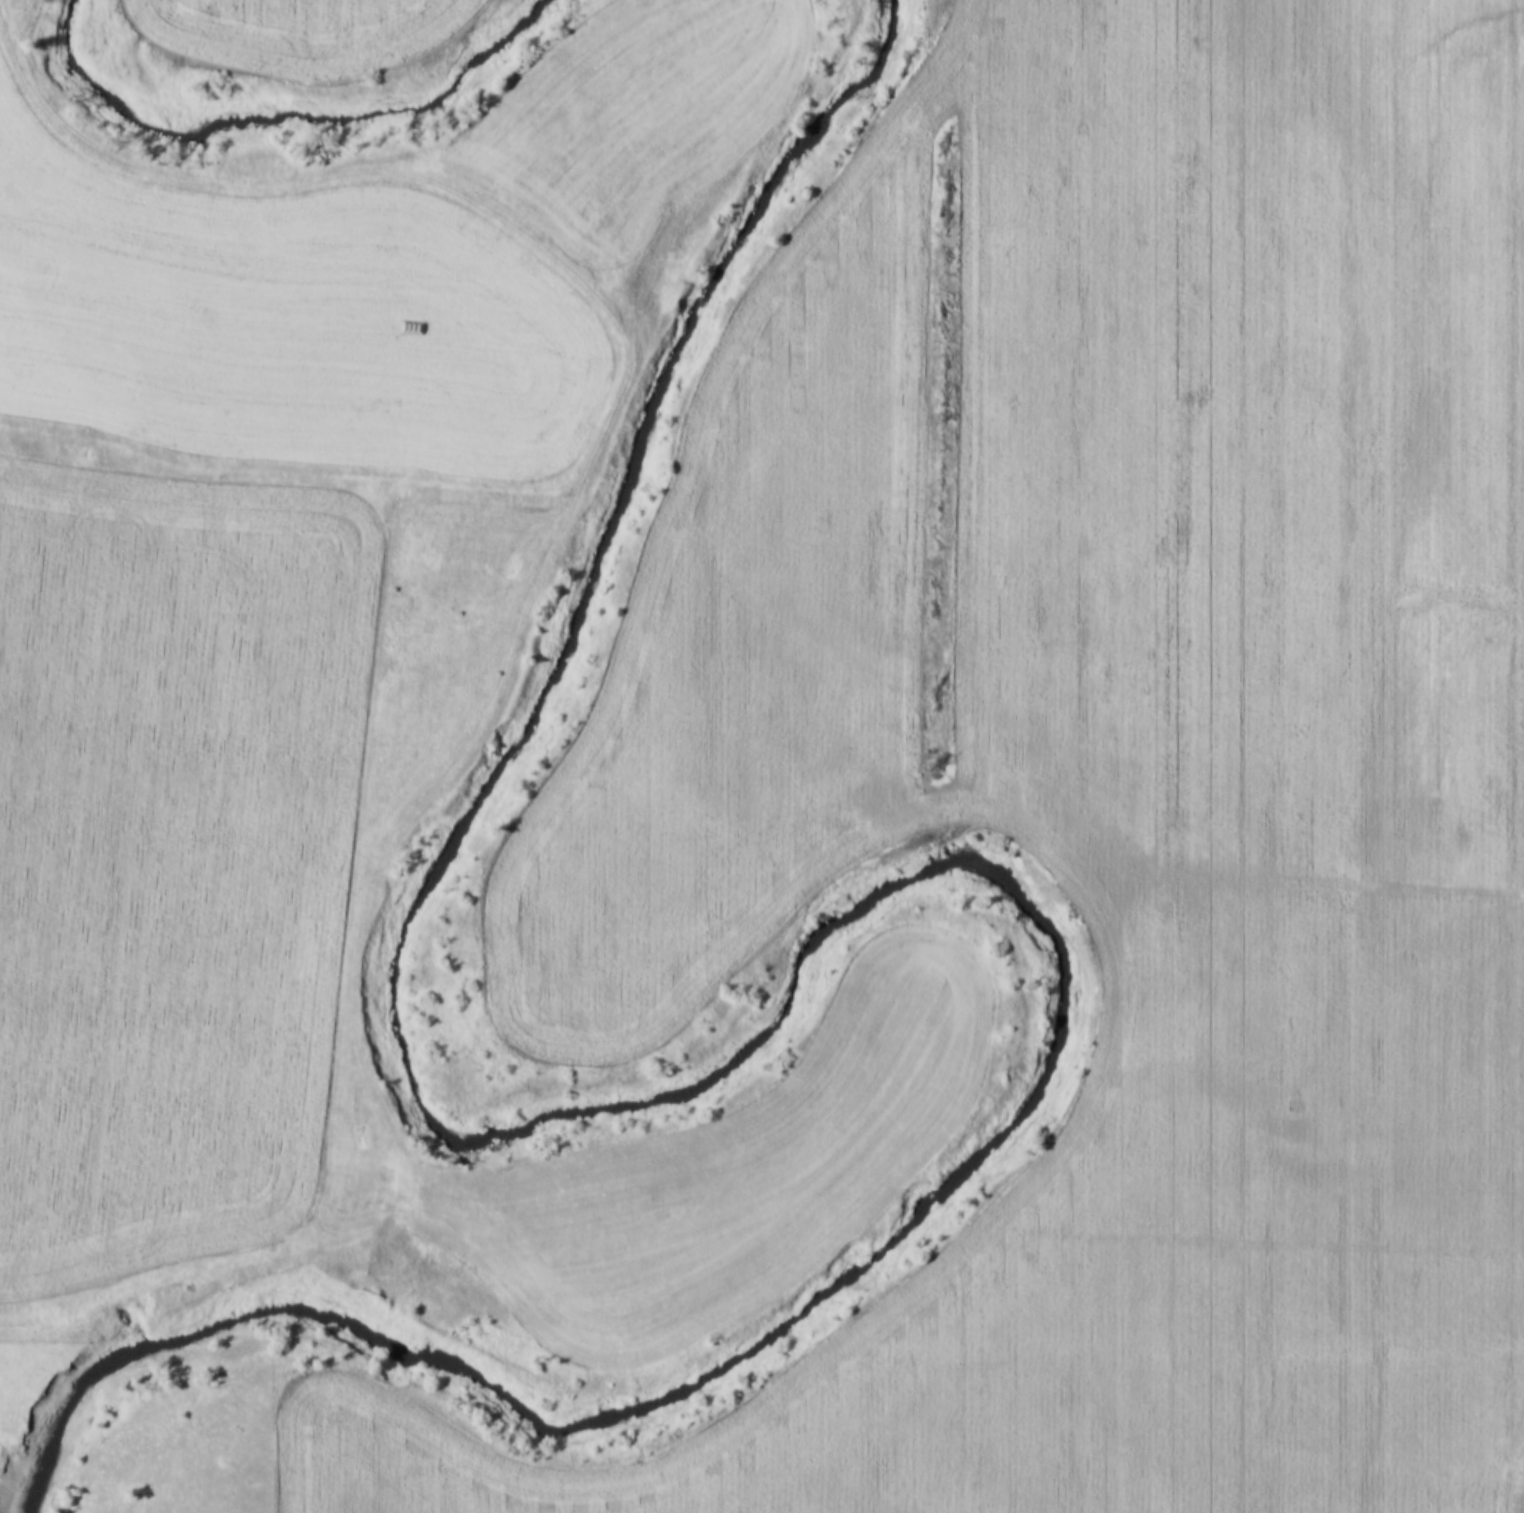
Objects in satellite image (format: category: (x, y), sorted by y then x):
river: (292, 98)
road: (119, 166)
river: (832, 943)

